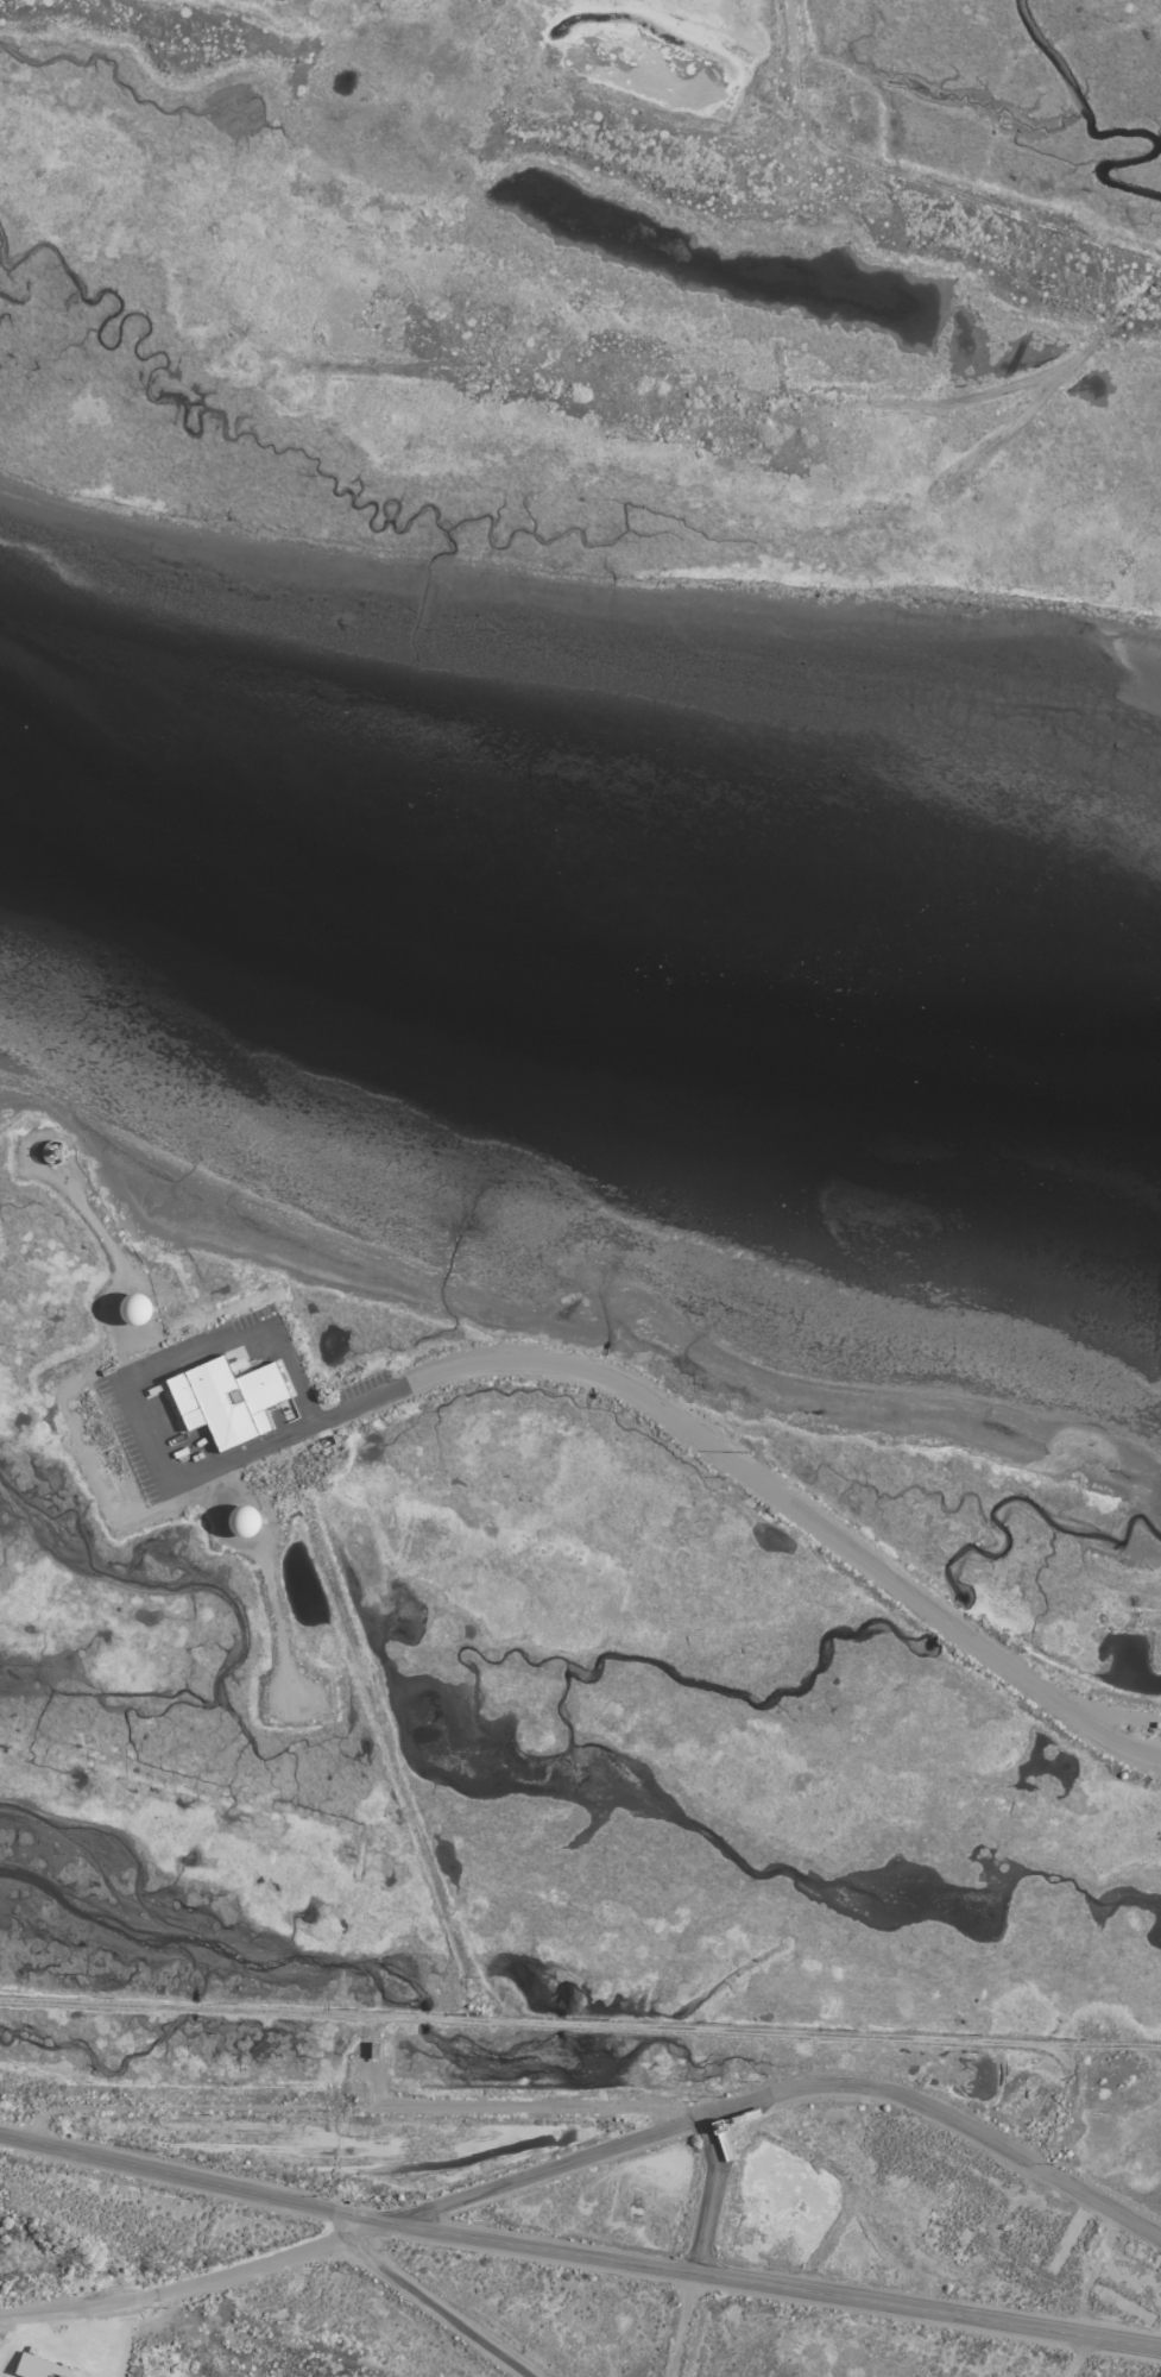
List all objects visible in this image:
road: (789, 86)
airport: (580, 1188)
building: (223, 1398)
road: (668, 1416)
road: (376, 1729)
road: (580, 2023)
road: (365, 2106)
road: (592, 2151)
road: (696, 2243)
road: (578, 2255)
road: (436, 2308)
road: (1074, 2357)
building: (36, 2365)

